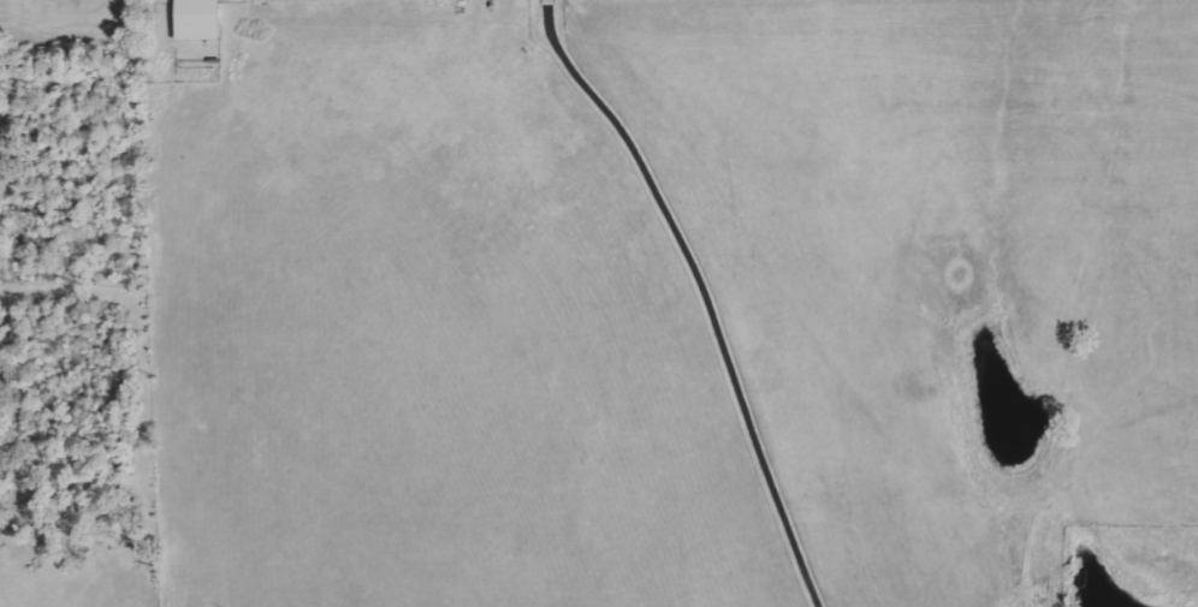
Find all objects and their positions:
building: (201, 19)
road: (713, 291)

